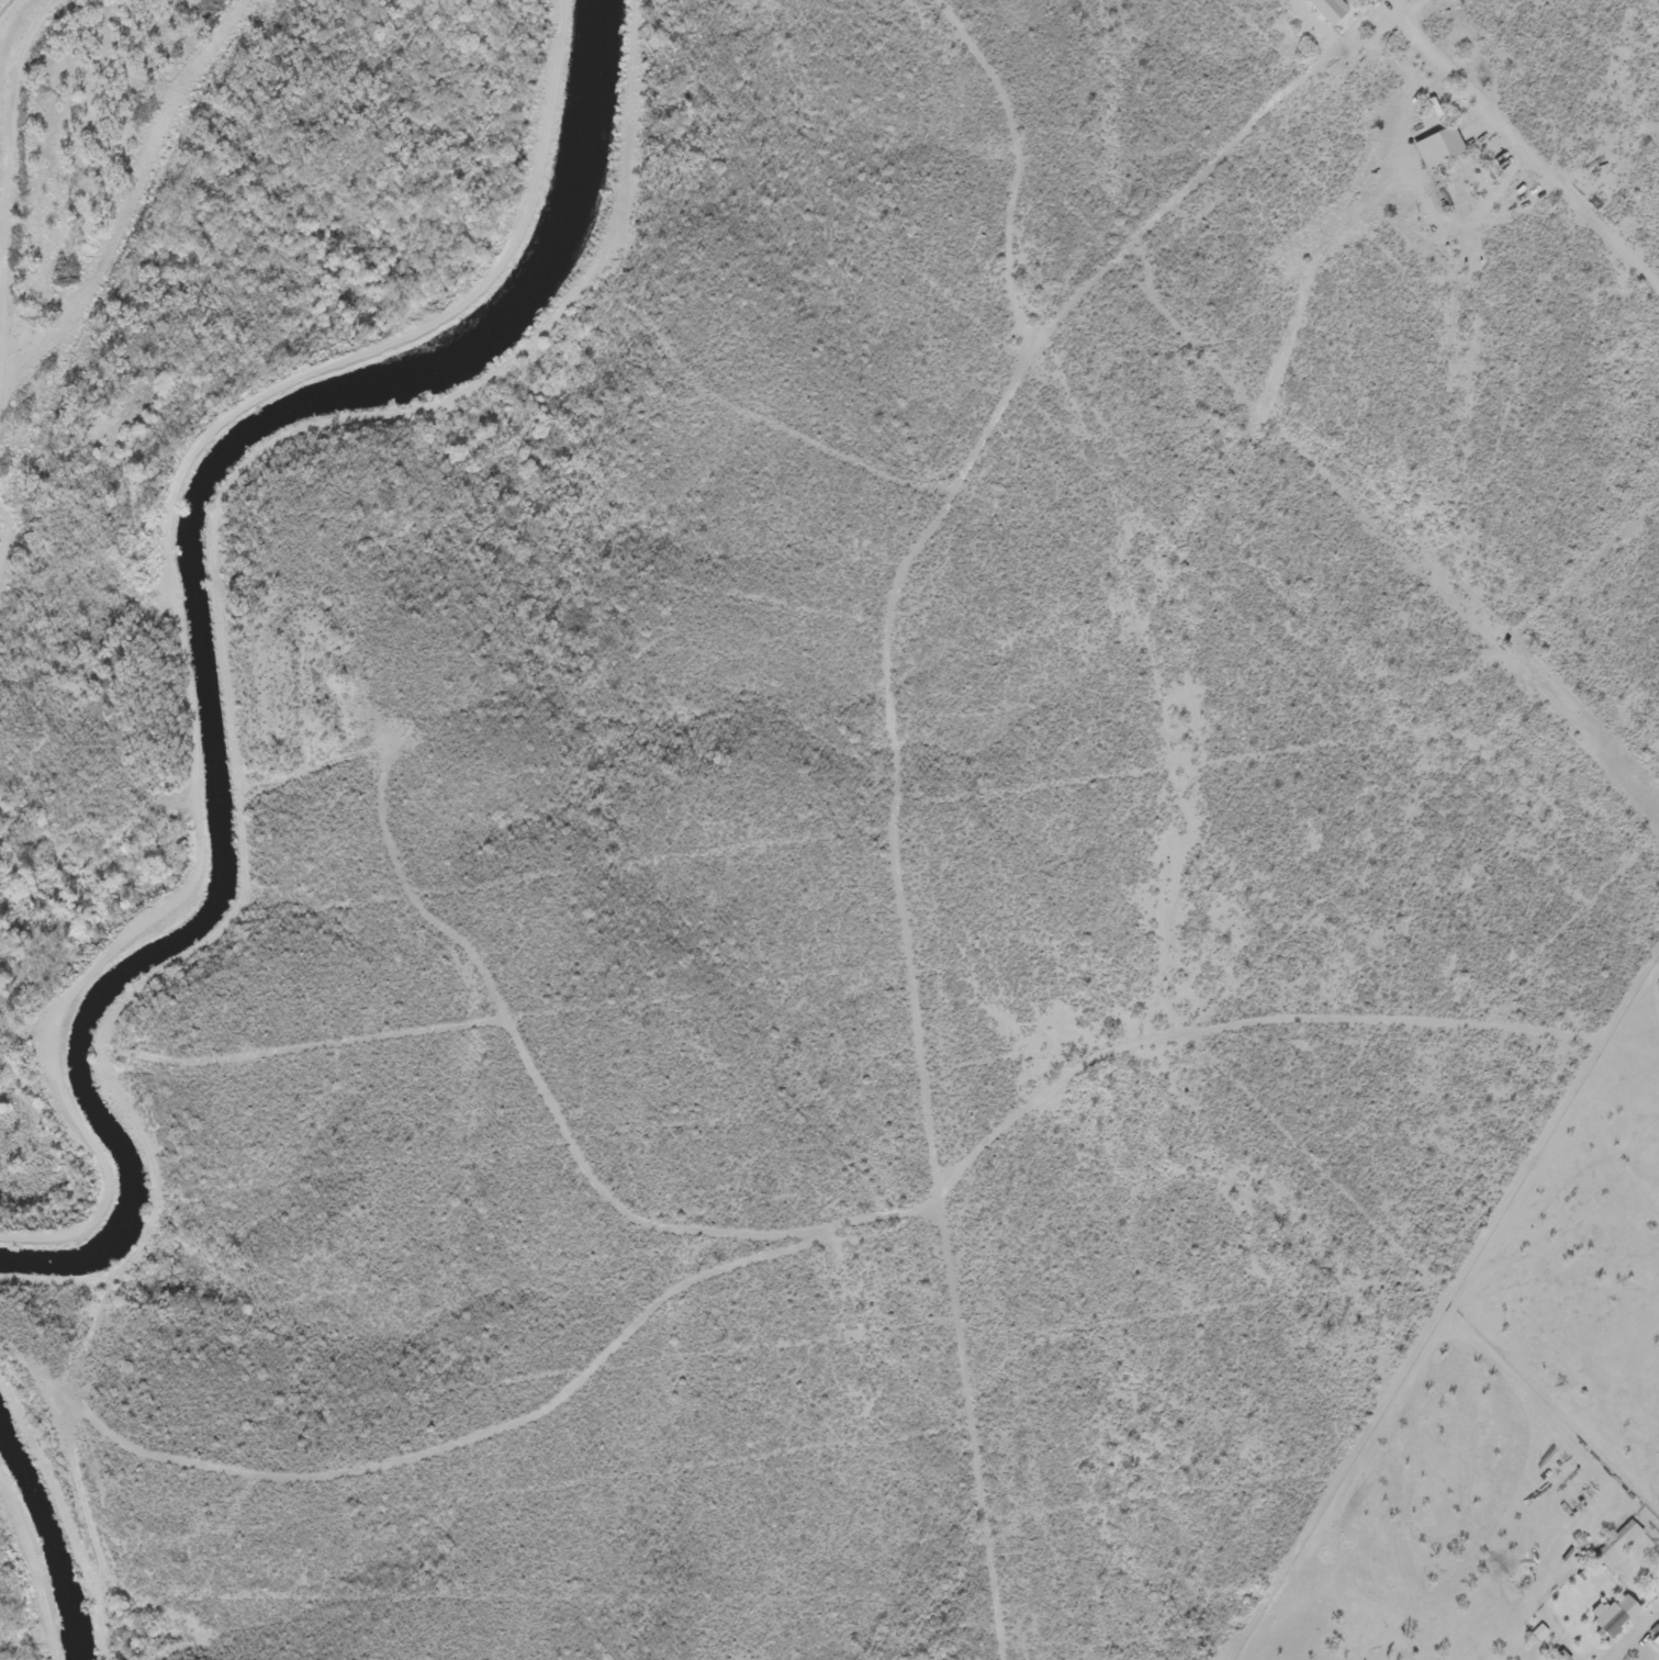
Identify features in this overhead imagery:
building: (1322, 10)
building: (1433, 148)
road: (1125, 505)
road: (1421, 511)
road: (536, 1064)
road: (865, 1235)
road: (1027, 1387)
building: (1606, 1624)
road: (1627, 1631)
building: (1636, 1658)

